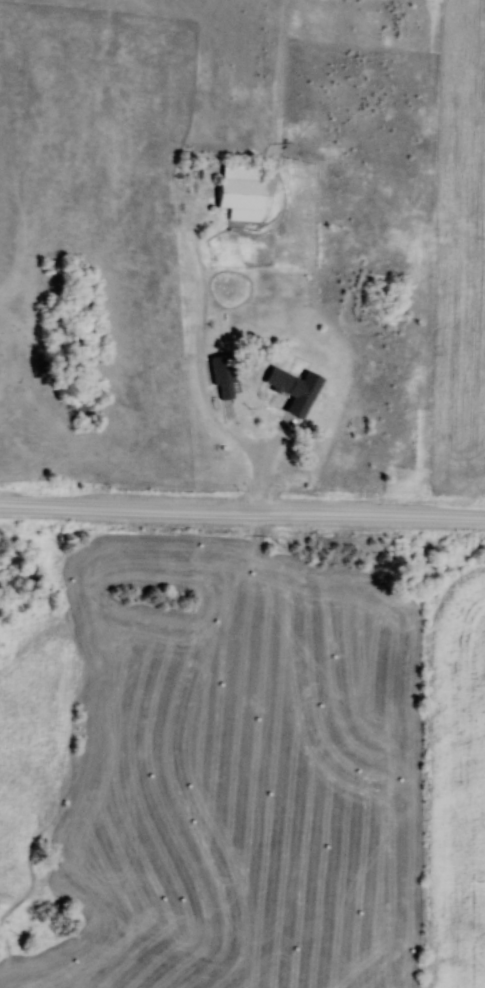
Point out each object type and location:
building: (241, 192)
road: (201, 330)
building: (224, 378)
building: (295, 390)
road: (266, 462)
road: (213, 511)
road: (456, 517)

